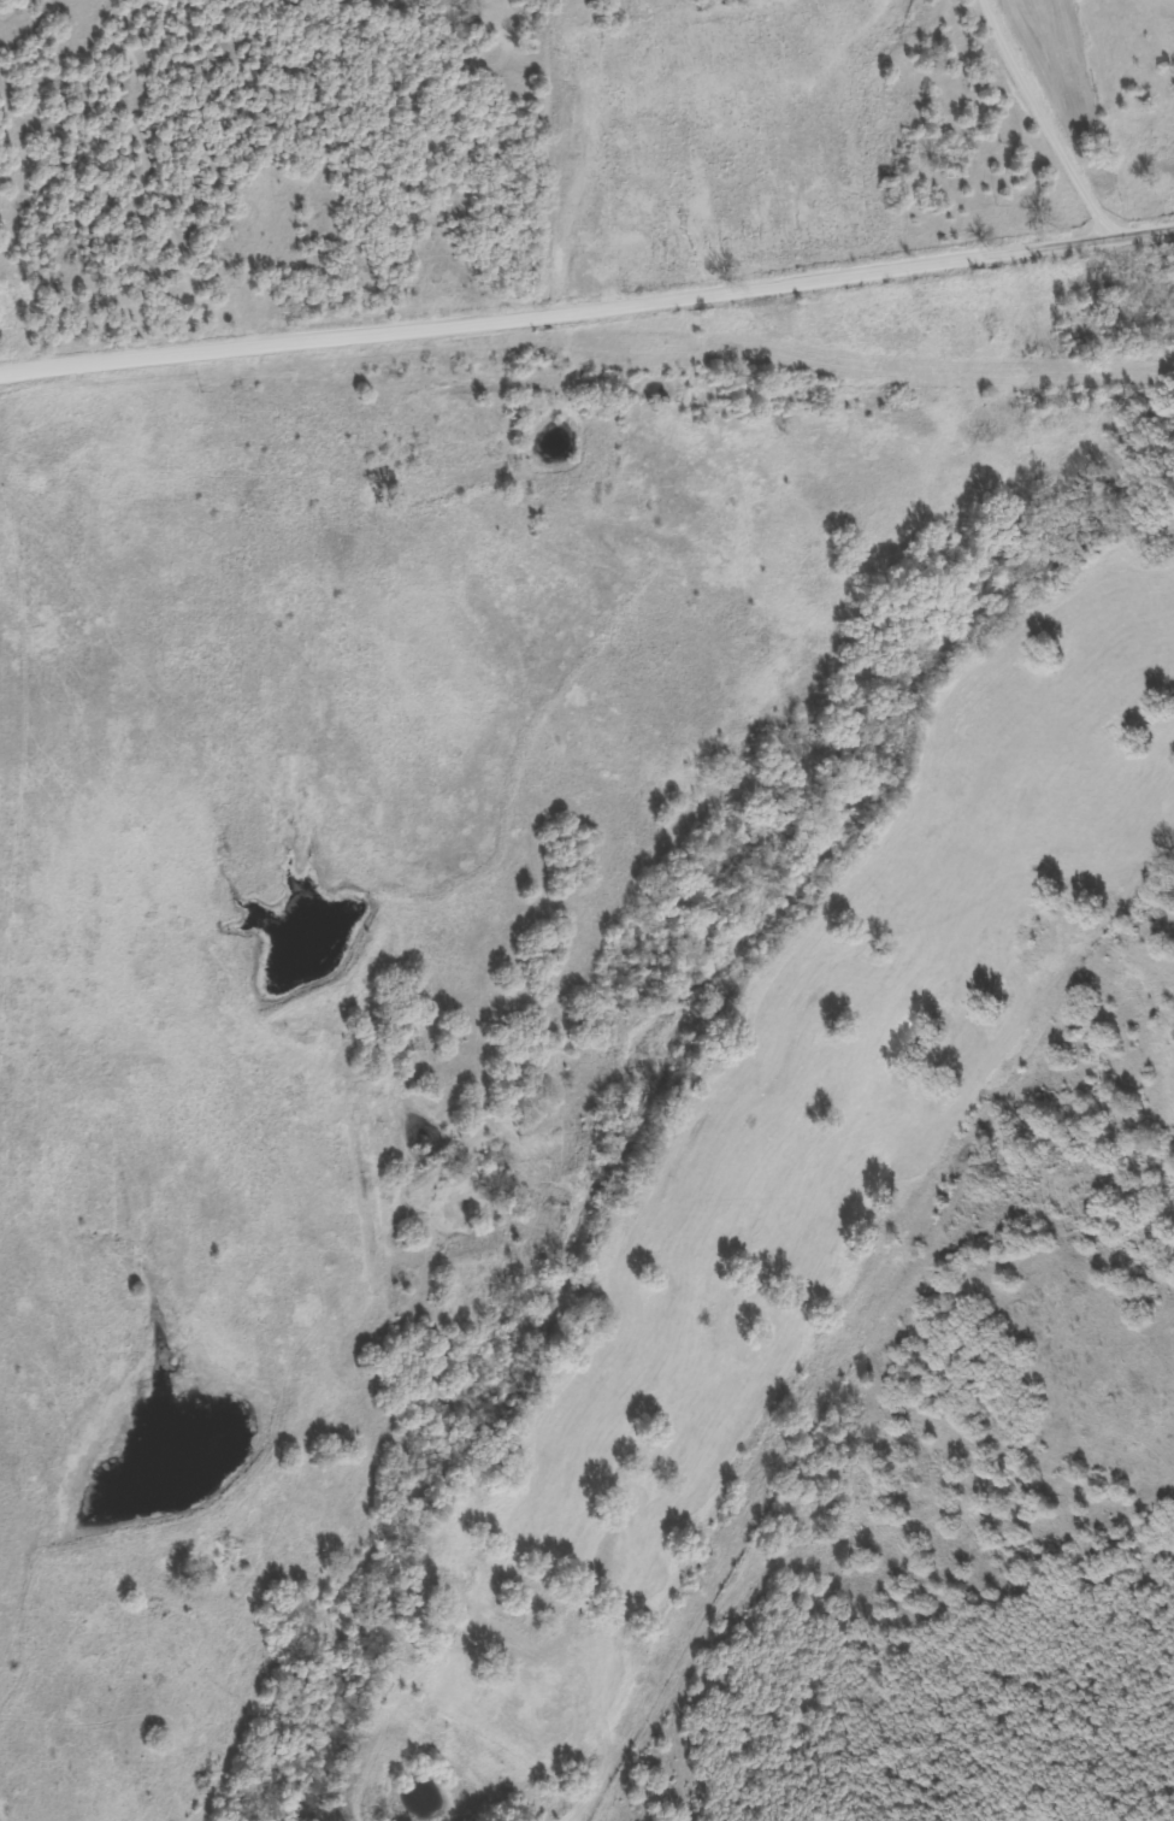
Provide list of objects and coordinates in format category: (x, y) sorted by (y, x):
road: (1042, 123)
road: (1143, 232)
road: (556, 310)

